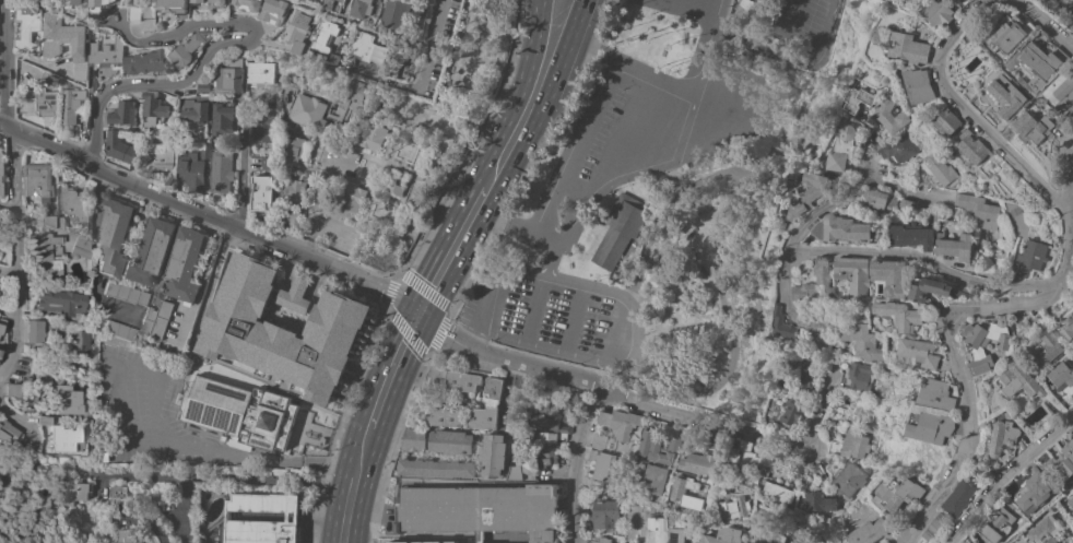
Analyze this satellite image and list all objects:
building: (964, 0)
building: (971, 0)
building: (73, 1)
building: (198, 2)
road: (526, 3)
building: (246, 4)
building: (332, 4)
building: (98, 7)
building: (174, 7)
building: (362, 8)
building: (273, 11)
building: (399, 12)
building: (939, 12)
road: (75, 16)
road: (1047, 21)
building: (28, 26)
road: (190, 28)
building: (296, 28)
road: (377, 31)
building: (321, 34)
building: (1011, 35)
road: (744, 36)
building: (66, 43)
road: (431, 43)
road: (4, 45)
building: (189, 47)
road: (565, 47)
building: (910, 47)
building: (105, 49)
building: (366, 49)
road: (798, 57)
building: (323, 58)
building: (148, 61)
building: (1040, 62)
building: (259, 72)
building: (1021, 73)
building: (227, 78)
building: (51, 79)
building: (91, 81)
building: (920, 84)
road: (149, 86)
building: (204, 86)
building: (1062, 92)
road: (517, 93)
building: (353, 94)
building: (44, 98)
building: (857, 99)
building: (1010, 99)
road: (585, 101)
building: (72, 104)
building: (153, 107)
building: (193, 109)
building: (307, 110)
building: (123, 113)
road: (440, 113)
road: (972, 113)
building: (889, 115)
building: (221, 118)
building: (948, 120)
building: (262, 122)
building: (1033, 127)
park: (437, 132)
building: (372, 135)
building: (144, 138)
road: (47, 144)
road: (397, 144)
road: (523, 144)
building: (117, 145)
building: (974, 146)
building: (840, 147)
building: (898, 147)
road: (450, 149)
road: (868, 150)
building: (203, 151)
building: (291, 151)
building: (158, 155)
building: (267, 162)
parking lot: (637, 163)
road: (663, 164)
building: (941, 169)
building: (190, 170)
building: (220, 172)
building: (1, 174)
building: (37, 180)
road: (241, 180)
road: (372, 186)
building: (397, 189)
building: (262, 192)
building: (812, 192)
road: (15, 193)
building: (352, 198)
road: (840, 199)
building: (879, 199)
building: (292, 201)
building: (27, 202)
building: (72, 202)
building: (905, 204)
building: (979, 209)
road: (369, 214)
building: (50, 219)
road: (516, 221)
building: (60, 222)
building: (0, 223)
building: (840, 227)
building: (620, 228)
building: (111, 234)
building: (910, 234)
road: (259, 235)
building: (953, 239)
building: (1024, 243)
road: (452, 248)
building: (81, 250)
building: (150, 251)
building: (44, 257)
building: (184, 262)
building: (853, 273)
road: (202, 276)
building: (887, 279)
building: (816, 281)
road: (492, 284)
building: (928, 287)
building: (125, 293)
building: (59, 302)
road: (624, 307)
road: (532, 309)
building: (900, 314)
traffic signals: (417, 315)
building: (1034, 318)
building: (155, 319)
road: (571, 319)
road: (802, 319)
building: (782, 323)
building: (282, 327)
building: (1068, 328)
building: (39, 330)
building: (118, 331)
building: (2, 334)
building: (988, 341)
building: (76, 342)
building: (864, 342)
road: (545, 345)
building: (1049, 350)
building: (916, 353)
road: (507, 356)
building: (188, 362)
building: (205, 363)
road: (391, 366)
road: (958, 368)
building: (802, 374)
building: (854, 374)
building: (1063, 377)
building: (452, 378)
building: (1019, 380)
building: (493, 387)
building: (12, 390)
building: (935, 393)
building: (64, 400)
building: (236, 406)
building: (1061, 406)
building: (791, 411)
building: (561, 414)
building: (444, 416)
building: (483, 417)
building: (40, 420)
road: (21, 422)
building: (621, 422)
building: (930, 426)
building: (5, 432)
building: (1071, 432)
building: (529, 436)
building: (1002, 436)
road: (366, 437)
building: (710, 437)
building: (64, 439)
building: (413, 439)
building: (598, 440)
building: (450, 441)
building: (658, 445)
building: (849, 445)
building: (543, 450)
road: (235, 452)
building: (744, 452)
building: (493, 453)
road: (576, 461)
building: (698, 462)
building: (601, 464)
building: (437, 467)
building: (1062, 468)
building: (980, 469)
building: (514, 472)
building: (765, 472)
building: (846, 475)
road: (1006, 476)
building: (655, 479)
building: (594, 483)
building: (117, 491)
building: (679, 492)
building: (777, 492)
building: (1034, 492)
building: (72, 493)
building: (897, 493)
road: (349, 497)
building: (959, 497)
building: (1071, 500)
building: (818, 501)
building: (1054, 506)
building: (734, 508)
building: (480, 509)
building: (603, 509)
building: (1072, 512)
building: (296, 515)
building: (943, 519)
building: (938, 524)
building: (998, 524)
building: (800, 526)
building: (657, 529)
building: (1046, 530)
building: (869, 531)
building: (933, 531)
building: (680, 533)
building: (767, 533)
building: (726, 535)
building: (125, 536)
building: (929, 536)
building: (600, 540)
building: (417, 541)
building: (698, 542)
building: (788, 542)

